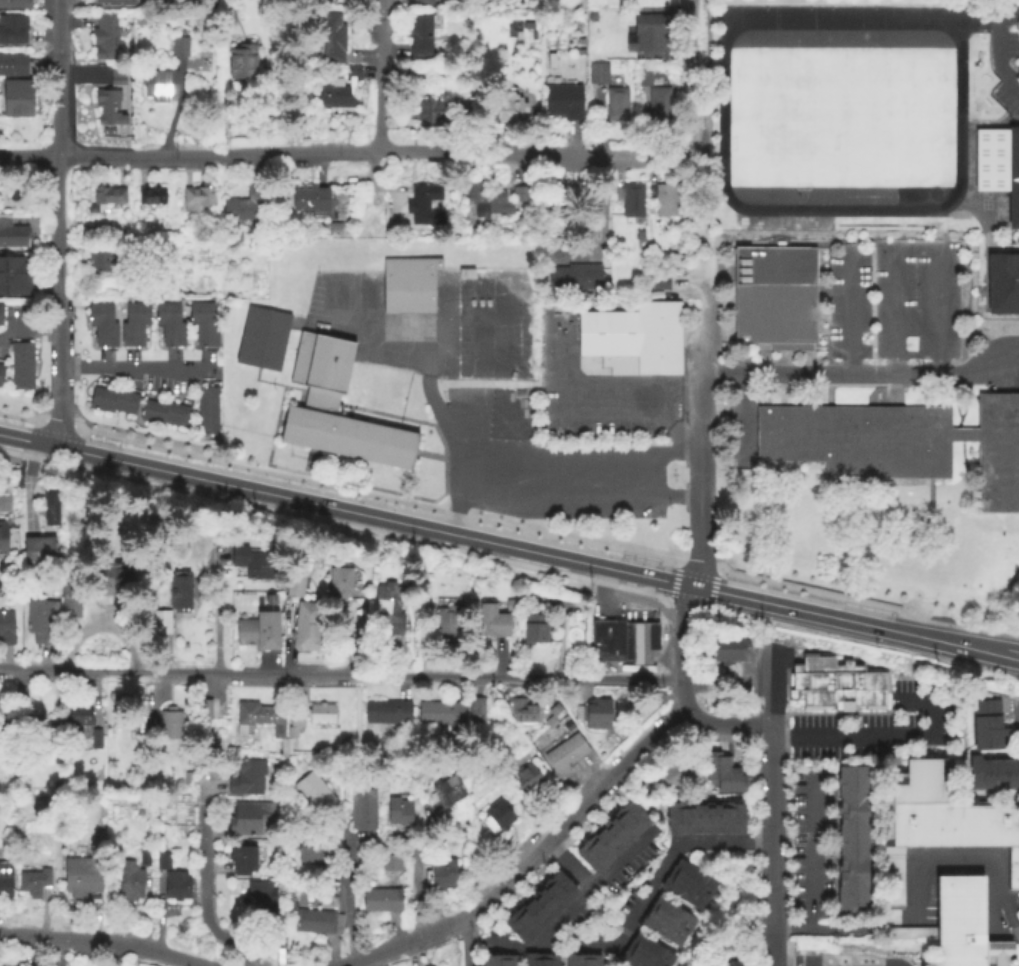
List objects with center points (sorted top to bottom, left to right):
building: (114, 1)
building: (422, 2)
road: (718, 3)
building: (15, 4)
road: (993, 15)
building: (13, 30)
building: (648, 34)
building: (106, 36)
building: (420, 37)
building: (332, 38)
road: (998, 44)
building: (179, 48)
building: (242, 63)
building: (13, 65)
road: (690, 71)
building: (459, 74)
building: (597, 74)
building: (117, 77)
road: (380, 77)
building: (644, 79)
building: (160, 86)
road: (707, 86)
track: (723, 87)
building: (339, 91)
building: (17, 99)
building: (563, 102)
building: (467, 104)
building: (658, 104)
building: (616, 105)
building: (109, 109)
building: (509, 110)
building: (424, 115)
park: (842, 117)
building: (108, 133)
road: (302, 155)
road: (646, 156)
building: (999, 167)
park: (985, 190)
park: (933, 192)
road: (380, 195)
building: (523, 195)
building: (108, 197)
building: (152, 197)
building: (198, 199)
building: (423, 199)
building: (567, 199)
building: (310, 200)
building: (631, 201)
building: (665, 201)
park: (1001, 201)
building: (487, 203)
park: (985, 203)
building: (245, 206)
road: (699, 208)
road: (601, 210)
park: (1001, 217)
road: (58, 224)
building: (335, 230)
building: (12, 234)
building: (639, 237)
road: (913, 249)
building: (103, 261)
building: (14, 277)
building: (574, 279)
building: (660, 283)
building: (1001, 285)
building: (409, 286)
parking lot: (893, 297)
building: (776, 298)
road: (846, 311)
building: (0, 316)
building: (170, 326)
building: (203, 326)
building: (102, 327)
building: (134, 327)
building: (631, 338)
building: (263, 340)
building: (21, 368)
road: (136, 369)
building: (1, 374)
road: (863, 374)
road: (653, 385)
parking lot: (598, 390)
building: (320, 400)
building: (113, 402)
building: (206, 413)
road: (564, 413)
building: (165, 415)
road: (701, 433)
building: (898, 444)
road: (454, 453)
road: (578, 454)
road: (29, 478)
road: (578, 504)
road: (3, 505)
building: (50, 507)
road: (346, 511)
building: (3, 539)
street lamp: (411, 544)
building: (39, 551)
street lamp: (474, 558)
building: (254, 561)
building: (109, 576)
building: (339, 580)
building: (295, 584)
building: (179, 588)
building: (70, 596)
building: (510, 602)
building: (387, 607)
road: (818, 614)
building: (42, 619)
building: (491, 620)
building: (164, 621)
road: (217, 623)
building: (446, 623)
building: (6, 625)
building: (309, 625)
road: (767, 625)
building: (535, 626)
building: (257, 629)
building: (624, 639)
road: (981, 643)
road: (683, 647)
building: (714, 650)
building: (735, 650)
road: (981, 651)
road: (340, 675)
road: (753, 676)
building: (837, 683)
road: (772, 685)
road: (579, 689)
building: (659, 694)
building: (206, 707)
building: (520, 707)
building: (387, 710)
building: (5, 711)
building: (452, 711)
building: (594, 711)
parking lot: (1014, 712)
building: (74, 714)
building: (309, 715)
building: (260, 718)
building: (170, 723)
road: (726, 724)
road: (1018, 725)
building: (989, 727)
building: (34, 728)
road: (884, 736)
road: (648, 744)
building: (690, 747)
building: (565, 750)
building: (713, 763)
building: (675, 772)
building: (246, 775)
building: (993, 775)
building: (525, 777)
building: (190, 778)
building: (731, 779)
building: (447, 789)
building: (313, 791)
building: (362, 806)
building: (398, 810)
building: (632, 813)
building: (496, 814)
building: (252, 815)
building: (675, 816)
building: (690, 816)
building: (706, 816)
building: (722, 816)
building: (737, 816)
building: (939, 823)
building: (621, 824)
building: (462, 832)
building: (610, 835)
road: (353, 837)
road: (405, 839)
building: (851, 840)
building: (599, 845)
road: (772, 845)
building: (314, 849)
parking lot: (812, 850)
road: (538, 851)
road: (809, 854)
building: (144, 856)
building: (587, 856)
building: (240, 857)
building: (163, 858)
building: (390, 861)
road: (567, 865)
road: (941, 865)
building: (442, 872)
road: (657, 872)
road: (328, 873)
building: (694, 874)
building: (81, 875)
road: (415, 875)
building: (5, 877)
building: (129, 879)
road: (206, 879)
building: (33, 880)
building: (560, 882)
building: (175, 883)
building: (688, 883)
road: (347, 885)
building: (549, 893)
building: (683, 893)
building: (261, 895)
building: (381, 898)
building: (539, 903)
road: (573, 908)
building: (672, 910)
building: (528, 915)
road: (601, 916)
building: (313, 919)
building: (667, 920)
building: (518, 925)
building: (959, 927)
road: (1016, 928)
building: (661, 930)
road: (826, 933)
building: (277, 934)
road: (106, 941)
road: (403, 945)
road: (466, 945)
building: (651, 946)
road: (112, 954)
building: (643, 954)
building: (582, 958)
building: (485, 959)
building: (496, 959)
building: (507, 959)
building: (528, 959)
building: (540, 959)
building: (551, 959)
building: (570, 959)
building: (593, 959)
building: (631, 959)
building: (737, 962)
road: (355, 963)

